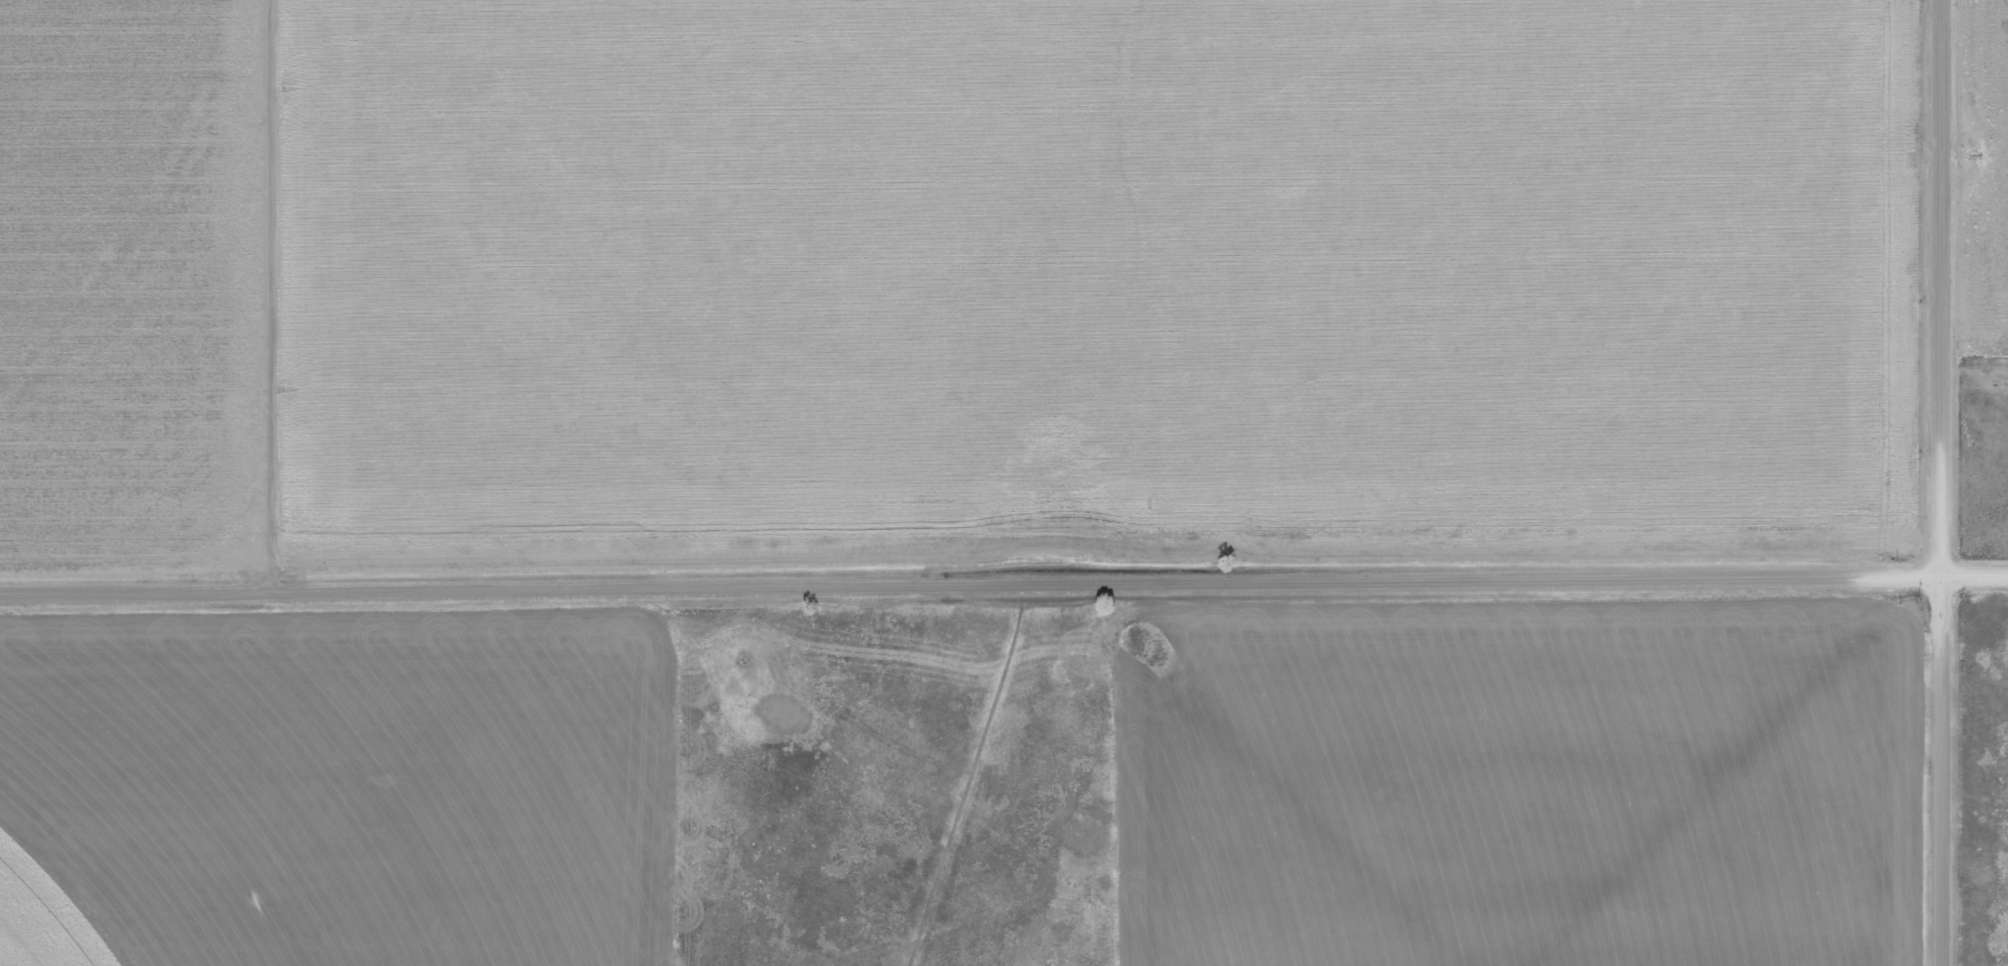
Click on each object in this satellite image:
crop: (1983, 172)
road: (1940, 482)
road: (1003, 580)

